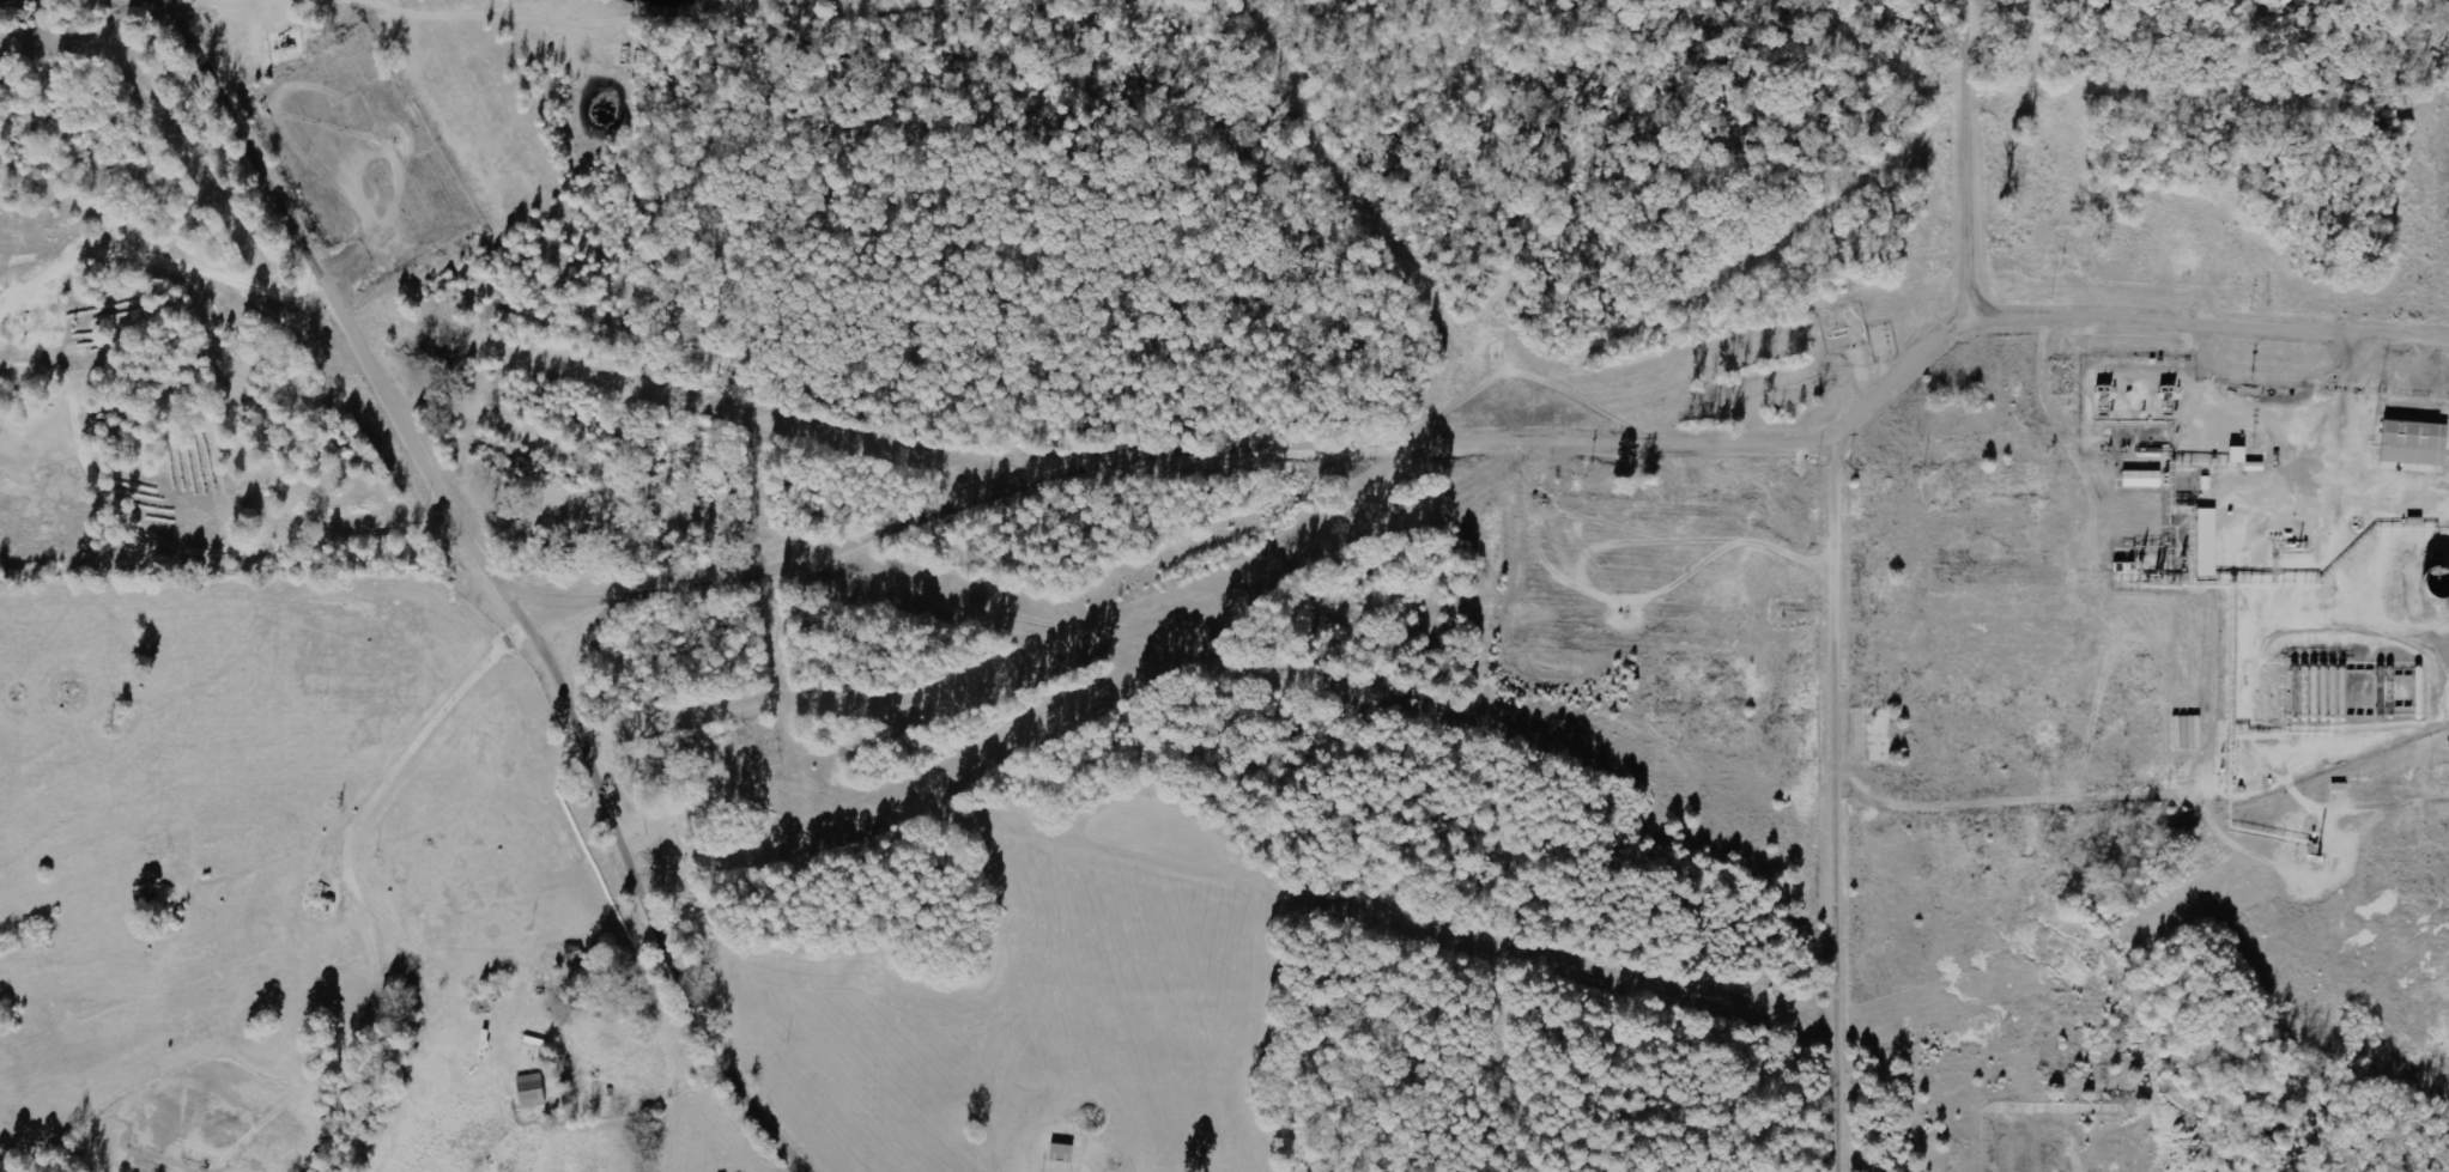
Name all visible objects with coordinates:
road: (1976, 164)
building: (2417, 443)
road: (1493, 444)
building: (2239, 455)
building: (2144, 479)
building: (2208, 542)
road: (504, 581)
road: (1849, 803)
road: (368, 883)
building: (532, 1088)
building: (1063, 1158)

